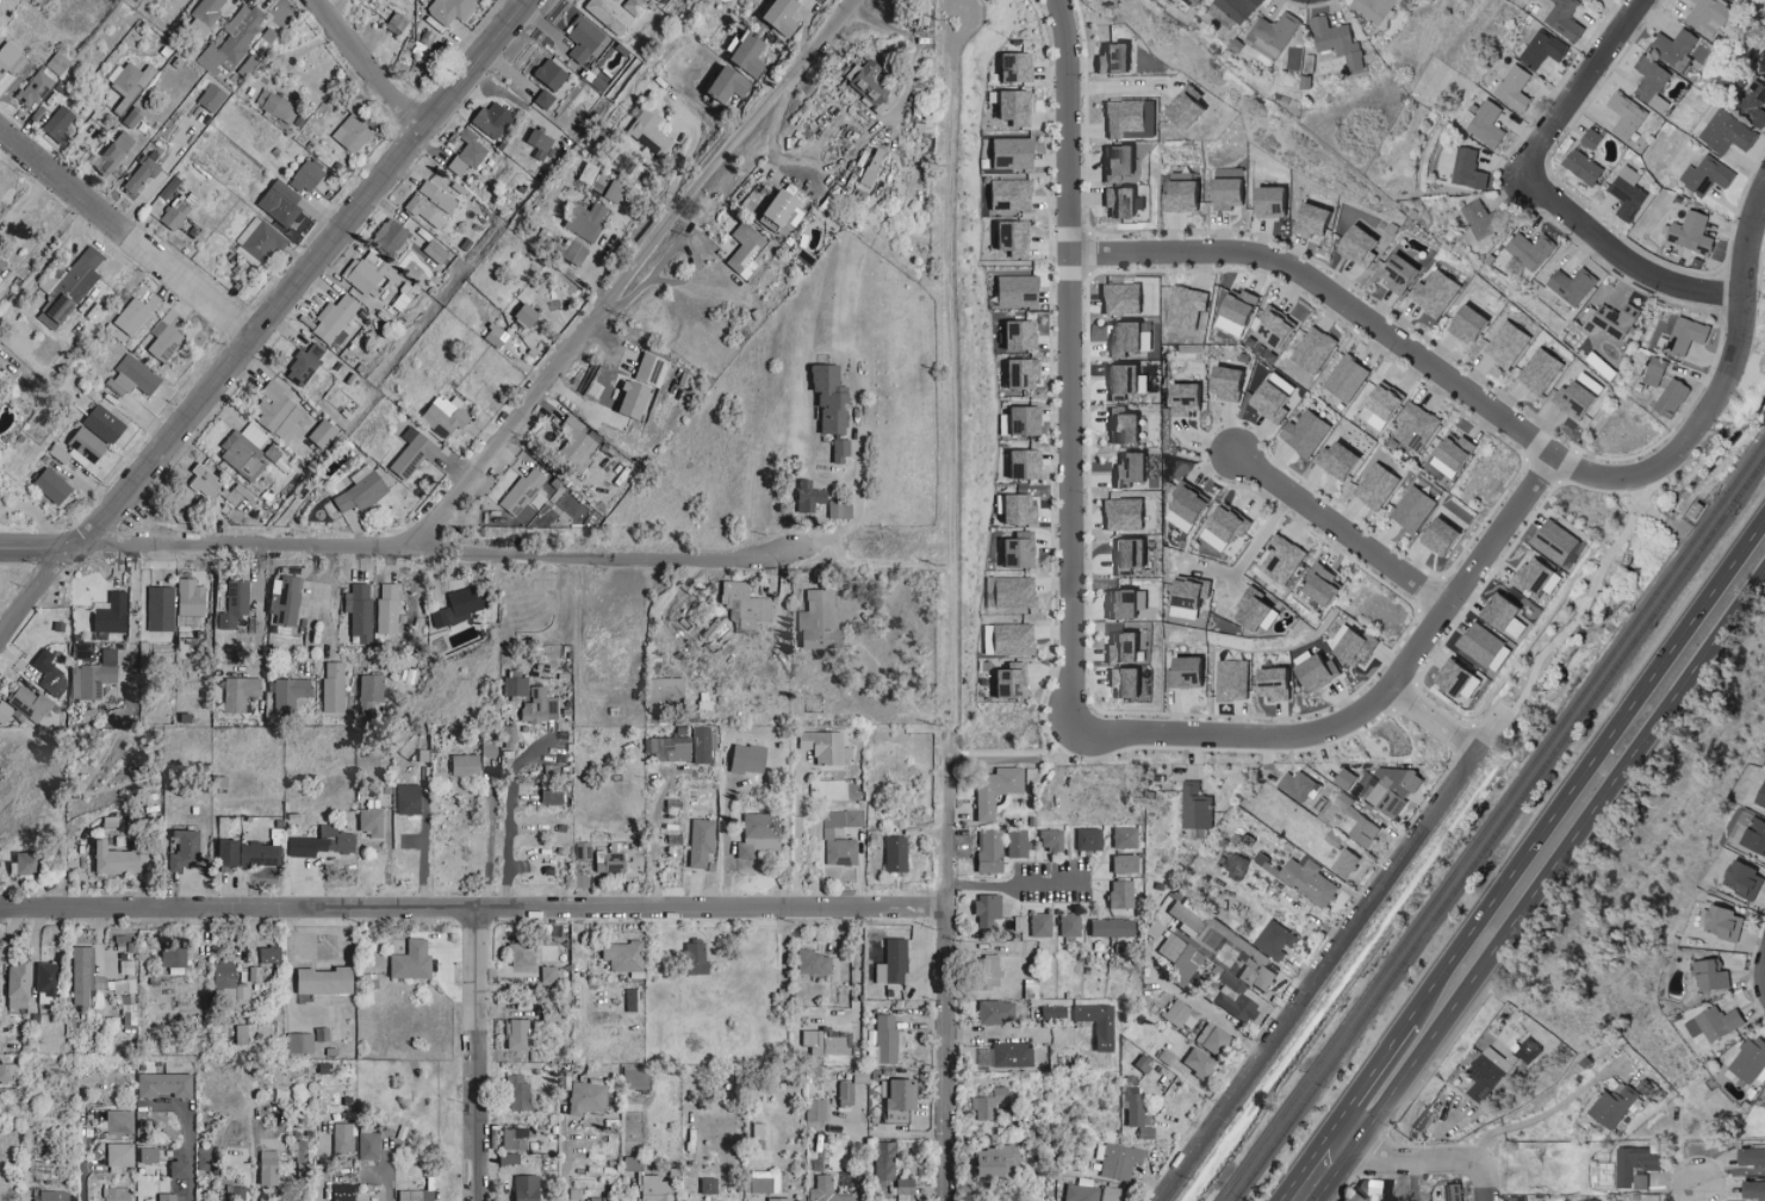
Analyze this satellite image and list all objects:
building: (658, 0)
building: (1734, 0)
building: (1200, 2)
building: (634, 6)
building: (1241, 8)
building: (449, 10)
building: (1376, 10)
building: (610, 14)
building: (205, 15)
building: (788, 15)
building: (1709, 17)
building: (394, 19)
building: (1566, 19)
building: (240, 35)
building: (268, 35)
building: (1275, 36)
building: (584, 39)
building: (1341, 43)
building: (1545, 49)
building: (1683, 51)
building: (754, 54)
building: (11, 58)
building: (1118, 58)
building: (56, 64)
building: (1759, 64)
building: (248, 66)
road: (373, 66)
building: (1019, 67)
building: (551, 74)
building: (1654, 82)
building: (129, 83)
building: (734, 85)
road: (1581, 85)
building: (36, 88)
building: (1516, 88)
building: (212, 97)
building: (545, 99)
building: (1753, 102)
building: (280, 107)
building: (1018, 107)
building: (1192, 110)
building: (1629, 116)
building: (131, 118)
building: (1127, 119)
building: (486, 120)
road: (852, 123)
building: (60, 124)
building: (1489, 124)
building: (650, 131)
building: (353, 133)
building: (1728, 133)
building: (1593, 139)
building: (540, 144)
building: (467, 153)
building: (114, 154)
building: (1015, 154)
building: (1123, 162)
building: (1585, 168)
building: (1469, 170)
building: (589, 173)
building: (307, 175)
building: (141, 176)
building: (1708, 176)
building: (615, 189)
building: (164, 194)
building: (1013, 194)
building: (1185, 194)
building: (1632, 194)
building: (280, 203)
building: (1125, 203)
building: (1275, 203)
building: (431, 205)
building: (793, 205)
building: (174, 214)
building: (586, 219)
building: (1317, 220)
building: (1483, 223)
road: (126, 232)
building: (1693, 234)
building: (392, 236)
building: (1015, 237)
building: (260, 238)
building: (1363, 245)
building: (757, 250)
building: (437, 251)
building: (1533, 251)
building: (577, 254)
road: (1624, 256)
road: (46, 262)
building: (2, 263)
building: (368, 272)
road: (306, 273)
road: (630, 274)
building: (1403, 274)
building: (1574, 287)
building: (70, 290)
building: (1020, 291)
building: (1437, 293)
road: (1332, 297)
building: (1125, 299)
building: (1189, 306)
building: (136, 313)
building: (1239, 313)
building: (528, 315)
building: (335, 317)
building: (1615, 321)
building: (1474, 325)
building: (1282, 330)
building: (1021, 335)
building: (166, 336)
building: (497, 336)
building: (1688, 336)
building: (1130, 338)
building: (1510, 344)
road: (1736, 346)
building: (1316, 350)
road: (949, 362)
building: (305, 365)
road: (1068, 365)
building: (651, 369)
building: (1542, 372)
building: (1025, 373)
building: (1657, 373)
building: (133, 377)
building: (1349, 378)
building: (685, 379)
building: (1127, 381)
building: (1231, 384)
building: (1670, 397)
building: (1278, 398)
building: (1188, 399)
building: (1581, 399)
building: (635, 400)
building: (849, 400)
building: (1390, 406)
building: (278, 411)
building: (445, 417)
building: (1027, 421)
building: (104, 424)
building: (1127, 427)
building: (1419, 429)
building: (322, 434)
building: (1309, 434)
building: (576, 444)
building: (86, 446)
building: (243, 447)
building: (273, 453)
building: (414, 453)
building: (858, 454)
building: (1458, 456)
building: (1343, 460)
building: (1027, 465)
building: (1136, 469)
road: (1598, 477)
building: (54, 486)
building: (213, 486)
building: (1379, 487)
building: (362, 490)
building: (524, 492)
building: (826, 499)
building: (1017, 509)
building: (1191, 509)
building: (1416, 509)
building: (856, 511)
building: (566, 512)
building: (1126, 515)
building: (1228, 528)
road: (1342, 533)
building: (1444, 537)
road: (1262, 539)
building: (1554, 543)
road: (42, 549)
road: (447, 550)
building: (1023, 550)
building: (1133, 555)
building: (1285, 560)
road: (1471, 571)
road: (318, 574)
building: (1533, 577)
building: (1325, 586)
building: (1015, 592)
road: (1590, 593)
road: (42, 598)
building: (1191, 599)
building: (286, 600)
building: (191, 604)
building: (235, 604)
building: (1127, 604)
building: (456, 606)
road: (259, 608)
road: (418, 608)
building: (757, 608)
road: (133, 609)
building: (160, 609)
building: (387, 609)
building: (1259, 611)
building: (360, 612)
building: (112, 615)
building: (1500, 615)
road: (311, 618)
building: (832, 622)
building: (1481, 645)
building: (1357, 648)
building: (1126, 649)
building: (1304, 659)
building: (1320, 672)
building: (1193, 673)
building: (94, 676)
building: (1448, 678)
building: (52, 680)
building: (1014, 682)
building: (1232, 682)
building: (1129, 684)
building: (1278, 684)
building: (334, 687)
building: (522, 687)
building: (240, 693)
building: (371, 693)
building: (290, 695)
building: (676, 695)
building: (30, 704)
building: (547, 708)
building: (4, 712)
road: (1434, 720)
road: (1499, 729)
road: (1233, 734)
building: (515, 738)
road: (949, 739)
building: (827, 747)
building: (495, 748)
building: (694, 748)
building: (753, 759)
building: (471, 766)
road: (1587, 771)
building: (1030, 776)
building: (1343, 778)
building: (1297, 785)
building: (1388, 788)
building: (996, 790)
building: (1760, 795)
building: (557, 798)
building: (410, 799)
building: (1194, 805)
building: (372, 822)
railway: (1491, 822)
building: (1361, 828)
railway: (1497, 829)
building: (828, 833)
road: (653, 834)
building: (759, 834)
building: (1121, 836)
building: (1753, 836)
building: (1086, 838)
road: (796, 839)
building: (1048, 839)
building: (324, 842)
building: (702, 842)
building: (1015, 842)
road: (490, 850)
building: (186, 851)
building: (989, 851)
building: (250, 854)
building: (896, 854)
building: (610, 860)
building: (1120, 863)
building: (25, 864)
building: (1344, 864)
building: (1235, 866)
building: (1739, 878)
building: (1306, 879)
road: (1019, 884)
road: (1542, 889)
building: (1119, 892)
road: (474, 907)
building: (983, 907)
building: (1182, 916)
building: (1720, 922)
building: (1037, 923)
building: (1067, 923)
building: (1107, 926)
building: (1272, 938)
building: (522, 954)
building: (271, 956)
building: (624, 956)
building: (1176, 957)
building: (174, 958)
building: (697, 959)
building: (412, 962)
building: (813, 962)
building: (890, 962)
building: (128, 965)
building: (983, 971)
building: (82, 973)
building: (549, 973)
building: (1708, 973)
building: (1255, 975)
building: (224, 976)
road: (1319, 977)
building: (325, 981)
road: (949, 981)
building: (48, 982)
building: (120, 985)
building: (18, 987)
building: (241, 994)
building: (1231, 997)
building: (128, 1002)
building: (1049, 1009)
building: (993, 1010)
building: (1174, 1013)
road: (1216, 1019)
building: (1093, 1022)
building: (1711, 1023)
building: (242, 1033)
building: (321, 1034)
building: (517, 1035)
building: (883, 1038)
building: (1211, 1038)
building: (299, 1043)
building: (825, 1043)
road: (479, 1053)
building: (1001, 1053)
building: (1525, 1054)
building: (1748, 1059)
building: (1195, 1063)
building: (8, 1071)
building: (1484, 1074)
road: (1372, 1075)
building: (164, 1084)
building: (516, 1093)
building: (894, 1093)
building: (584, 1097)
building: (987, 1102)
building: (1610, 1106)
building: (813, 1109)
road: (1173, 1110)
road: (1546, 1114)
building: (1133, 1119)
building: (1421, 1120)
building: (119, 1121)
building: (341, 1135)
road: (1328, 1137)
building: (514, 1138)
road: (189, 1144)
building: (368, 1145)
road: (563, 1152)
building: (120, 1153)
building: (149, 1155)
building: (207, 1157)
building: (1748, 1157)
building: (630, 1158)
building: (1115, 1159)
building: (302, 1160)
building: (993, 1160)
building: (285, 1163)
road: (1404, 1164)
road: (81, 1166)
building: (1633, 1166)
building: (269, 1168)
building: (179, 1169)
road: (319, 1171)
building: (885, 1172)
road: (1300, 1172)
building: (760, 1181)
building: (706, 1184)
road: (1489, 1186)
building: (521, 1187)
building: (651, 1188)
building: (824, 1189)
building: (1751, 1189)
building: (342, 1191)
building: (1371, 1191)
building: (1450, 1191)
road: (1696, 1191)
building: (117, 1193)
building: (1077, 1193)
building: (1107, 1193)
building: (51, 1195)
building: (416, 1195)
building: (168, 1196)
building: (773, 1199)
building: (1354, 1199)
building: (1515, 1199)
building: (599, 1200)
building: (1586, 1200)

